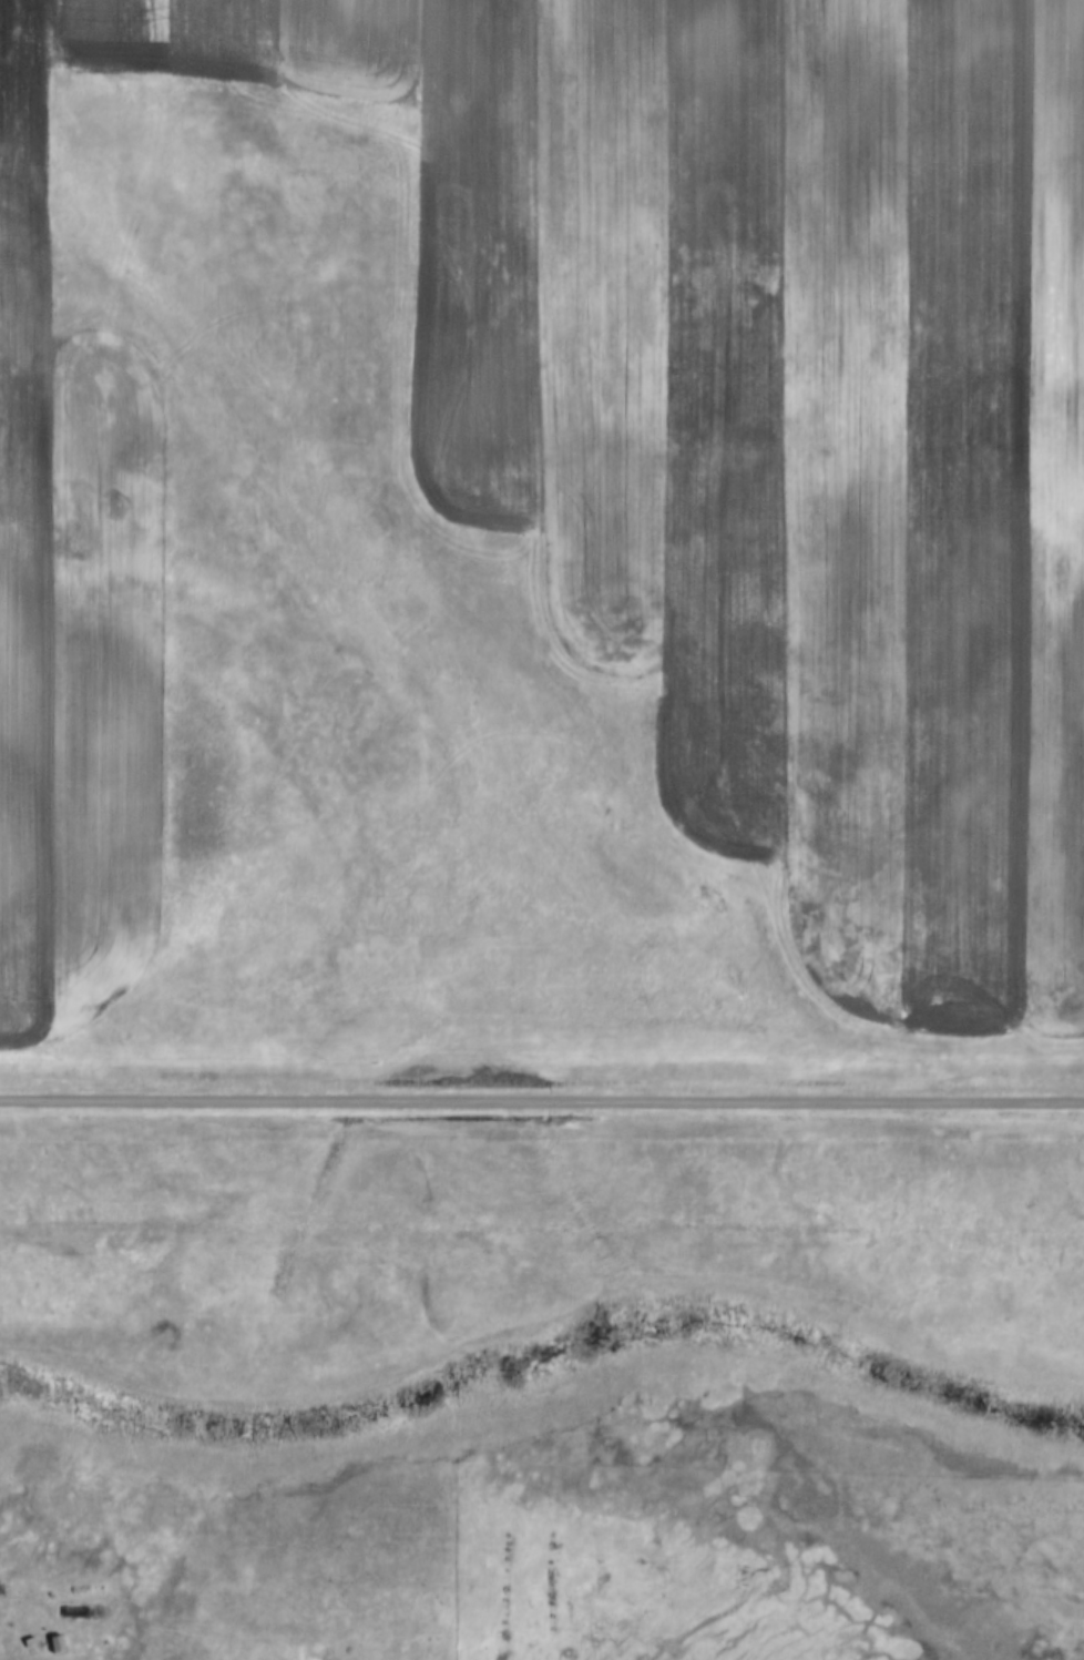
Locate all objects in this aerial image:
road: (541, 1102)

